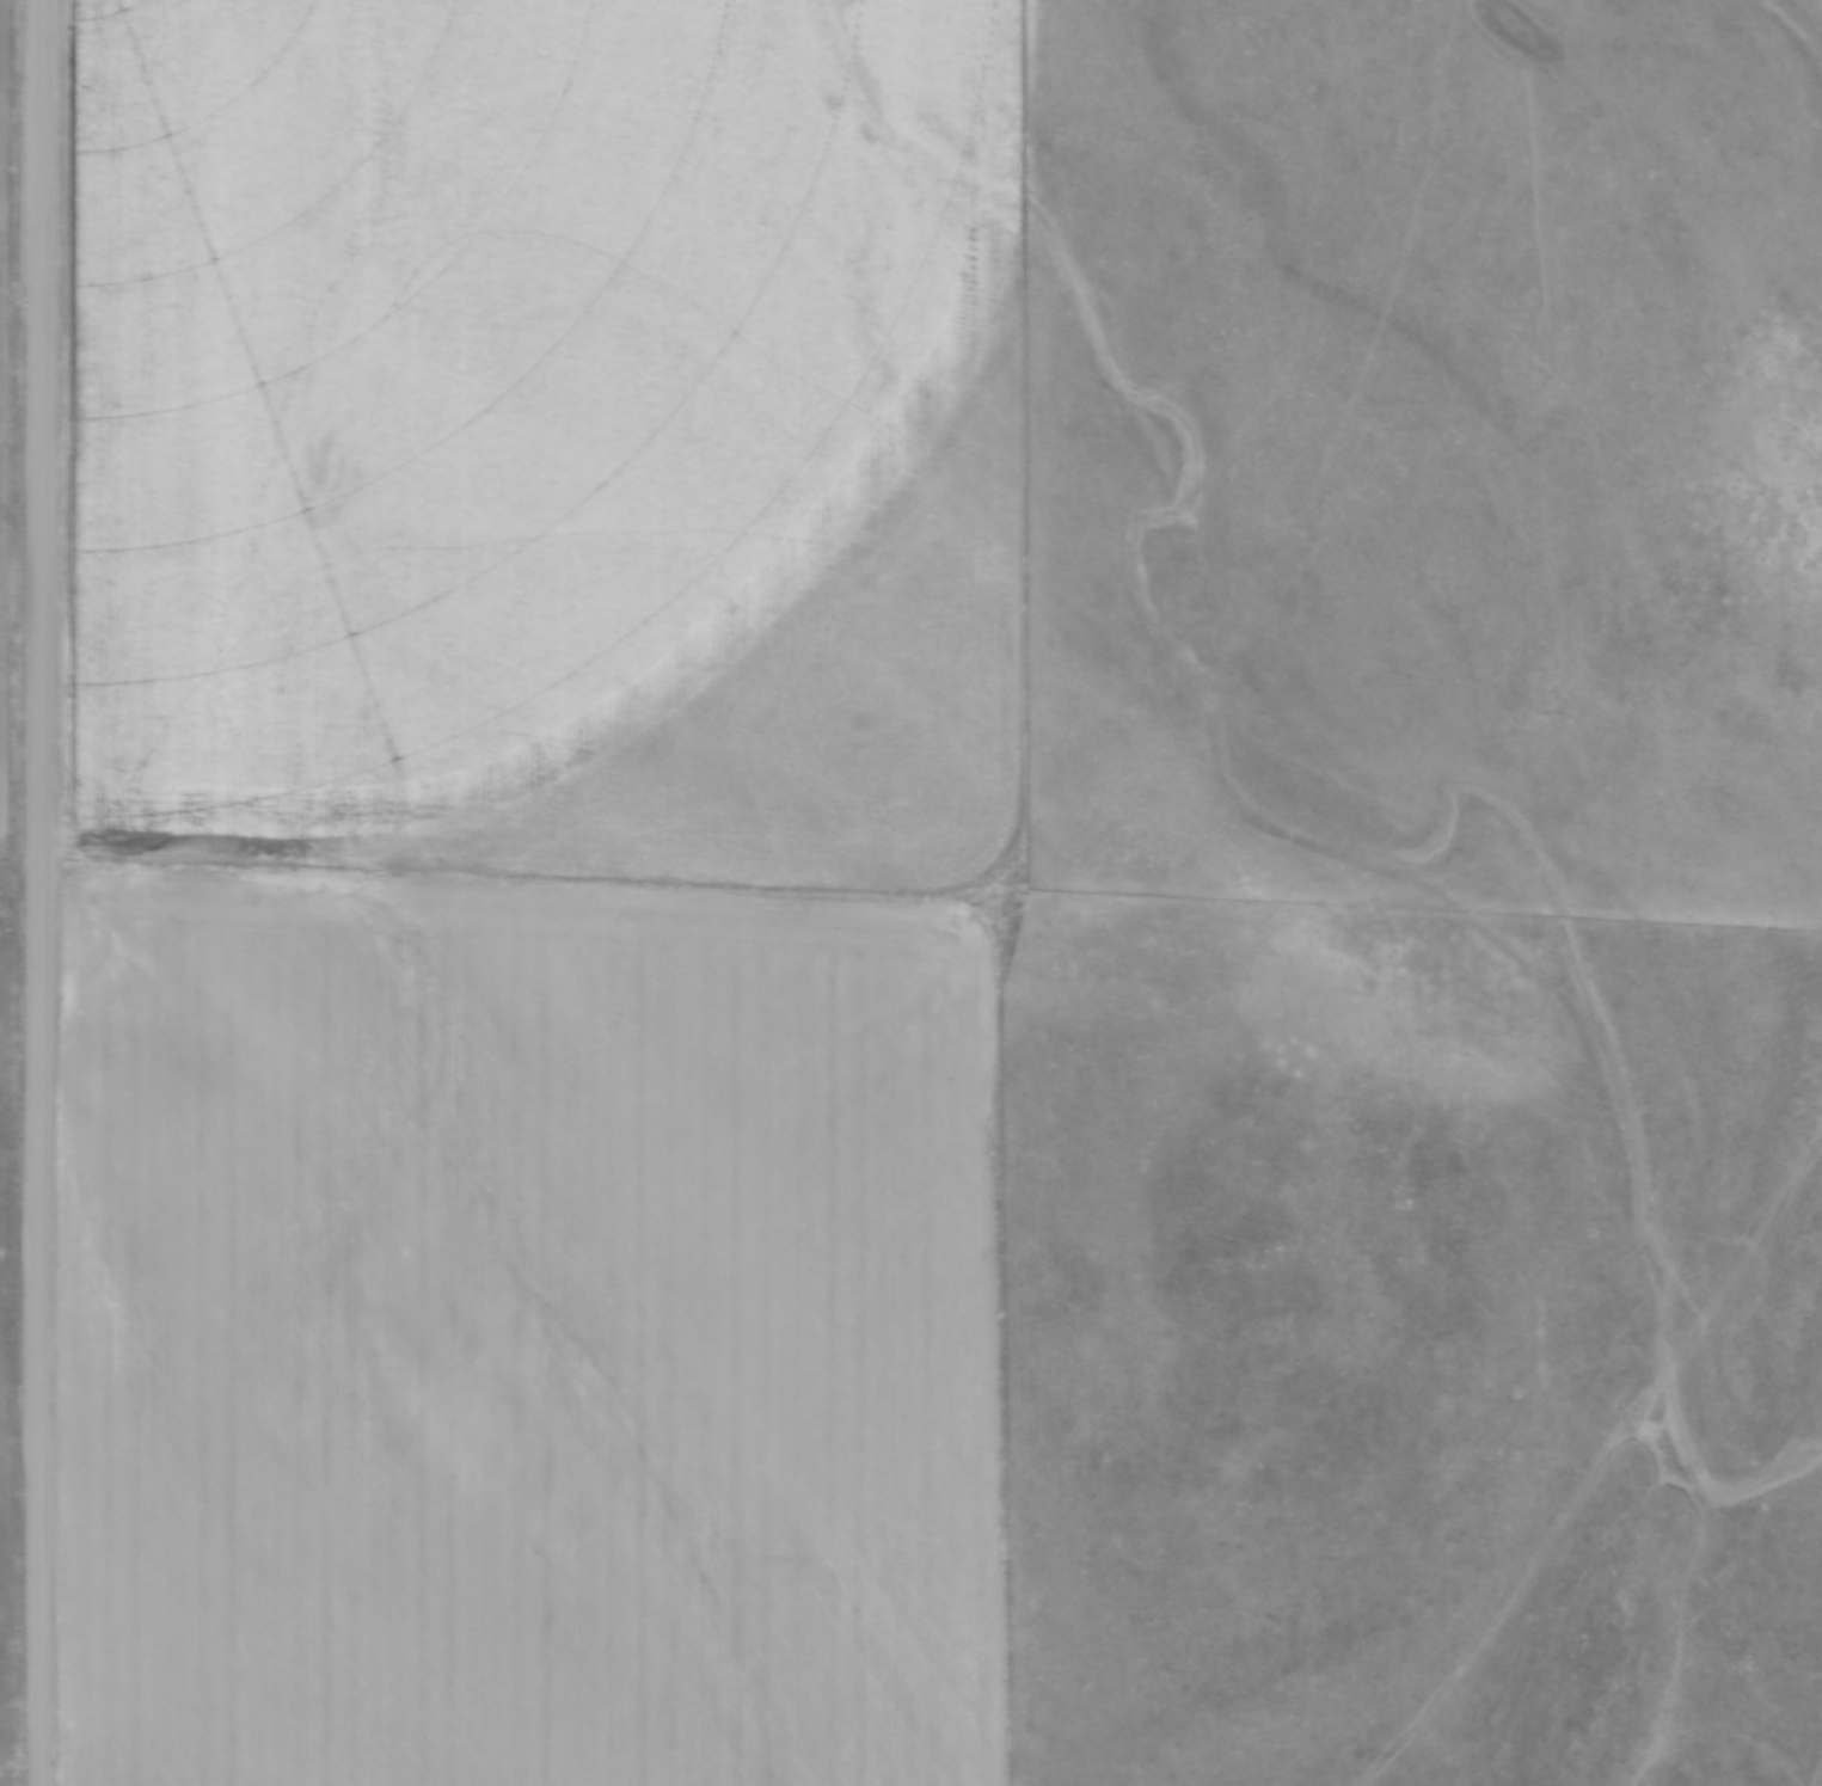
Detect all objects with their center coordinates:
road: (39, 892)
crop: (538, 892)

